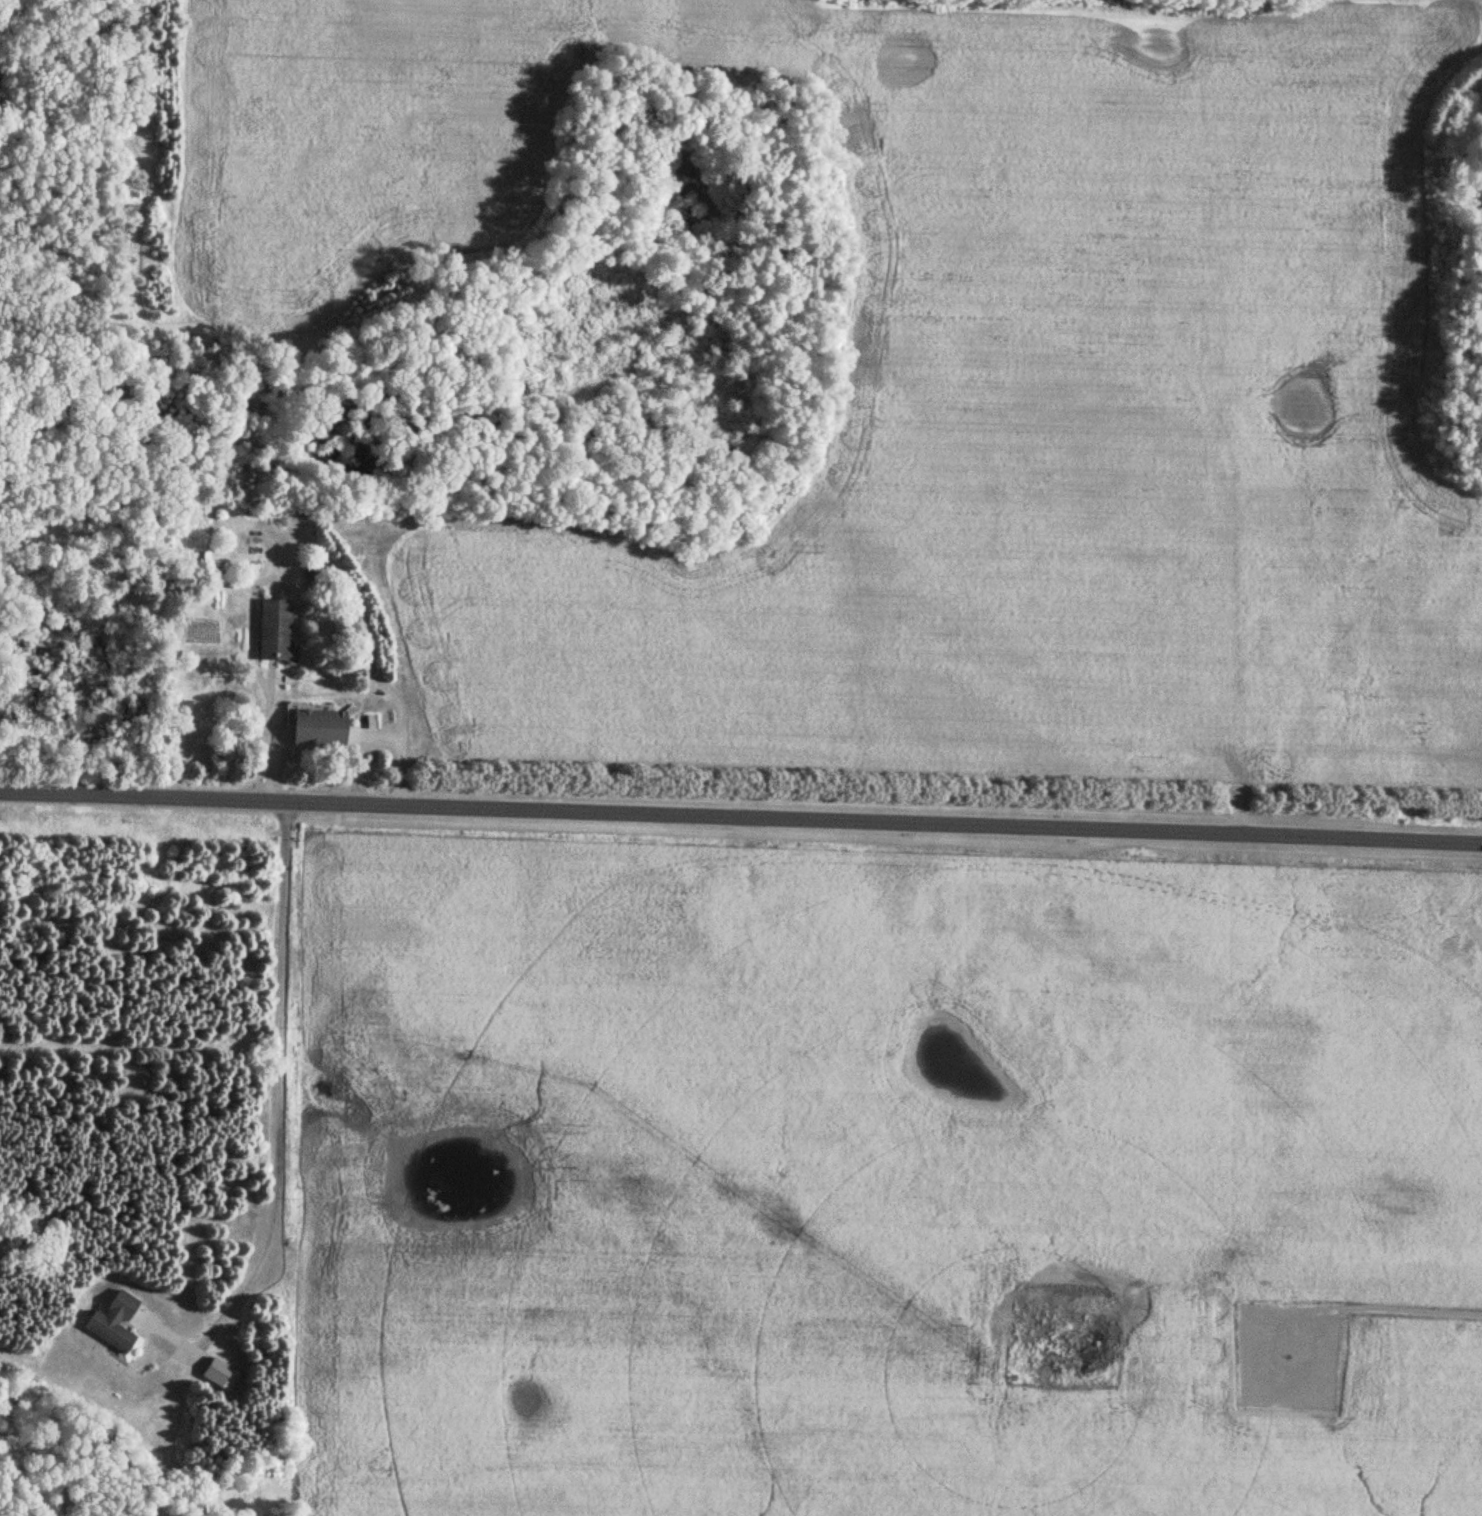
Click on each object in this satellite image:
road: (334, 607)
building: (273, 633)
road: (1217, 637)
building: (312, 726)
road: (740, 815)
road: (282, 983)
road: (259, 1256)
road: (1379, 1303)
building: (111, 1323)
building: (214, 1373)

